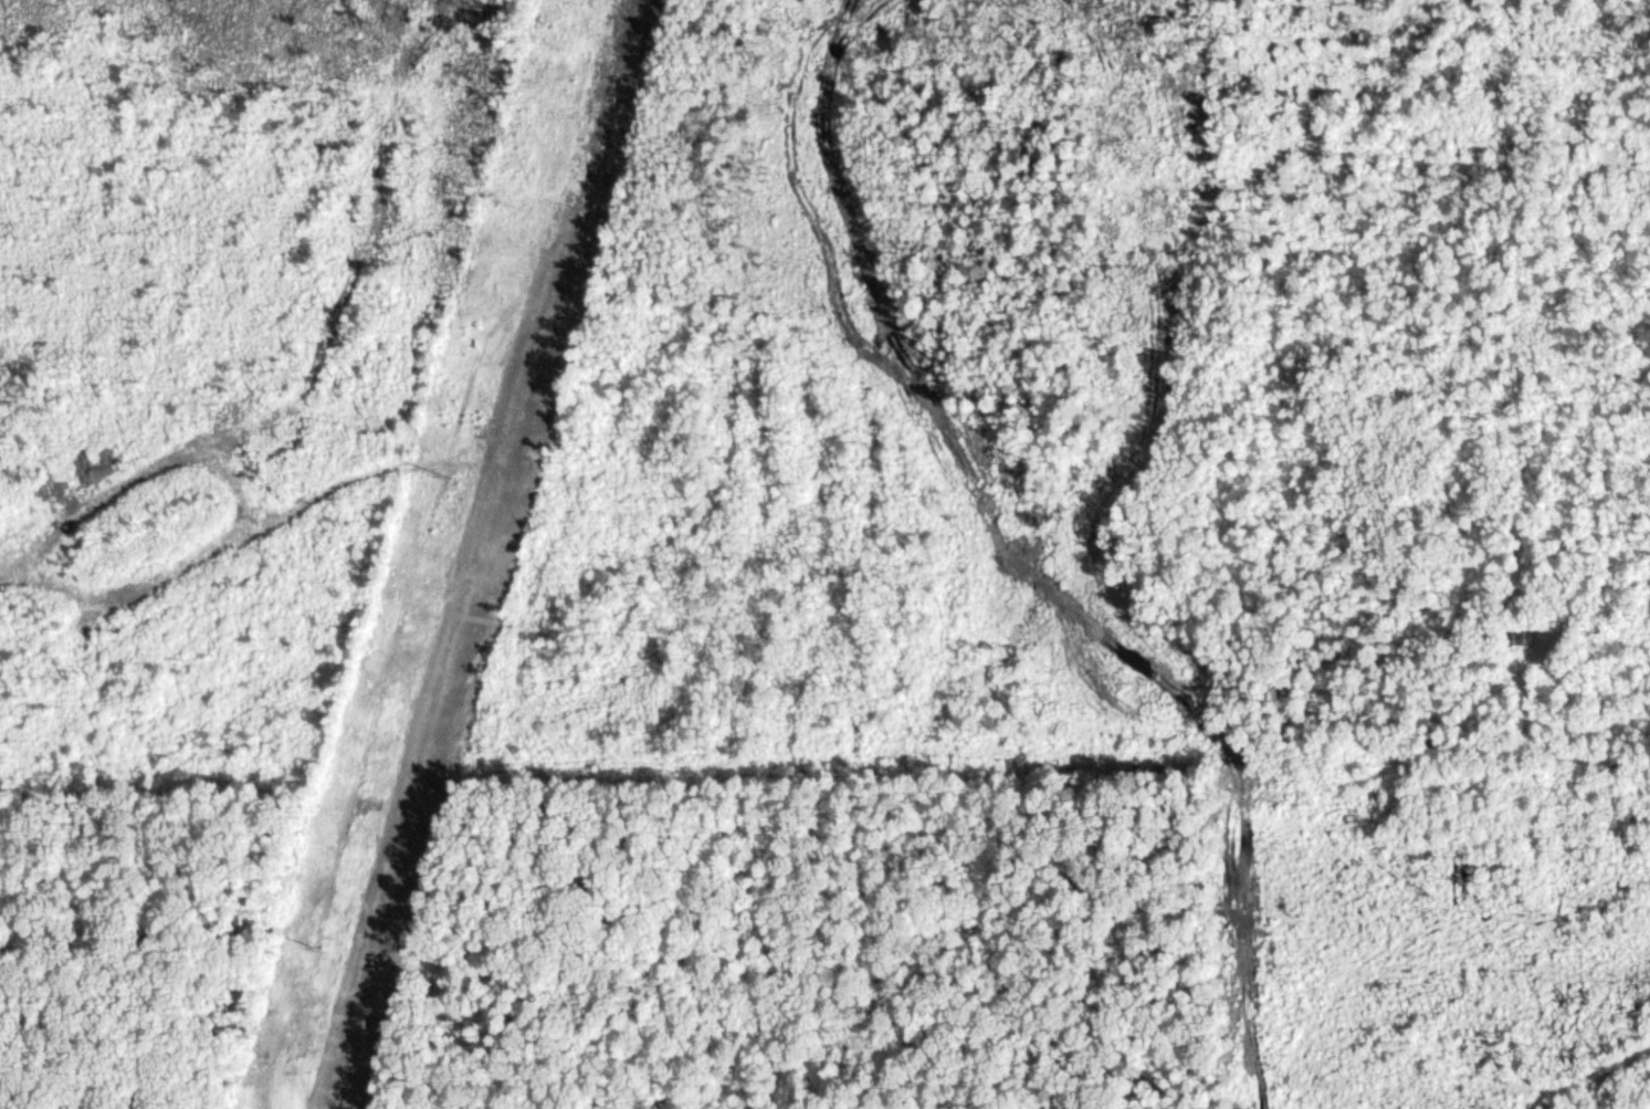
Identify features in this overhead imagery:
road: (1167, 851)

